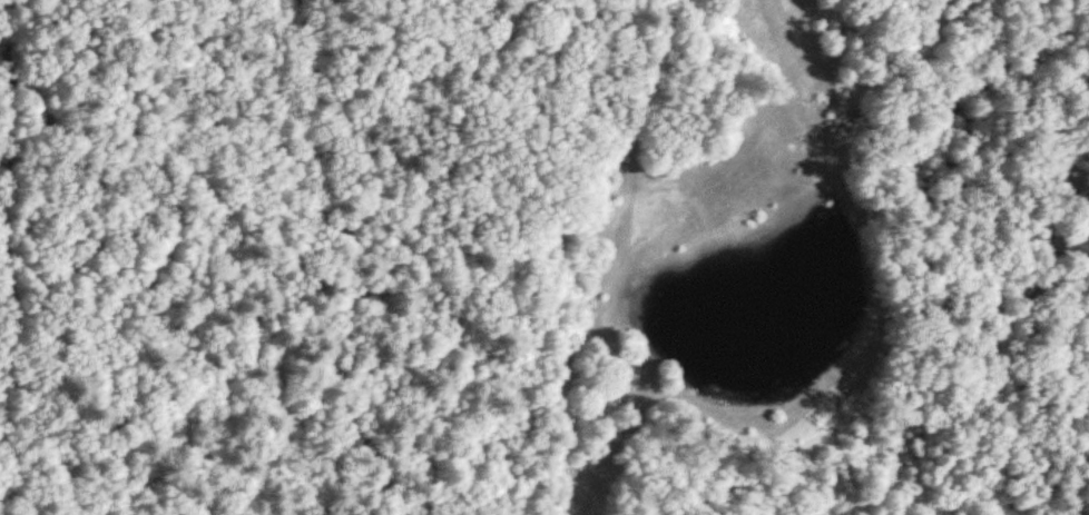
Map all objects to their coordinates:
road: (585, 251)

